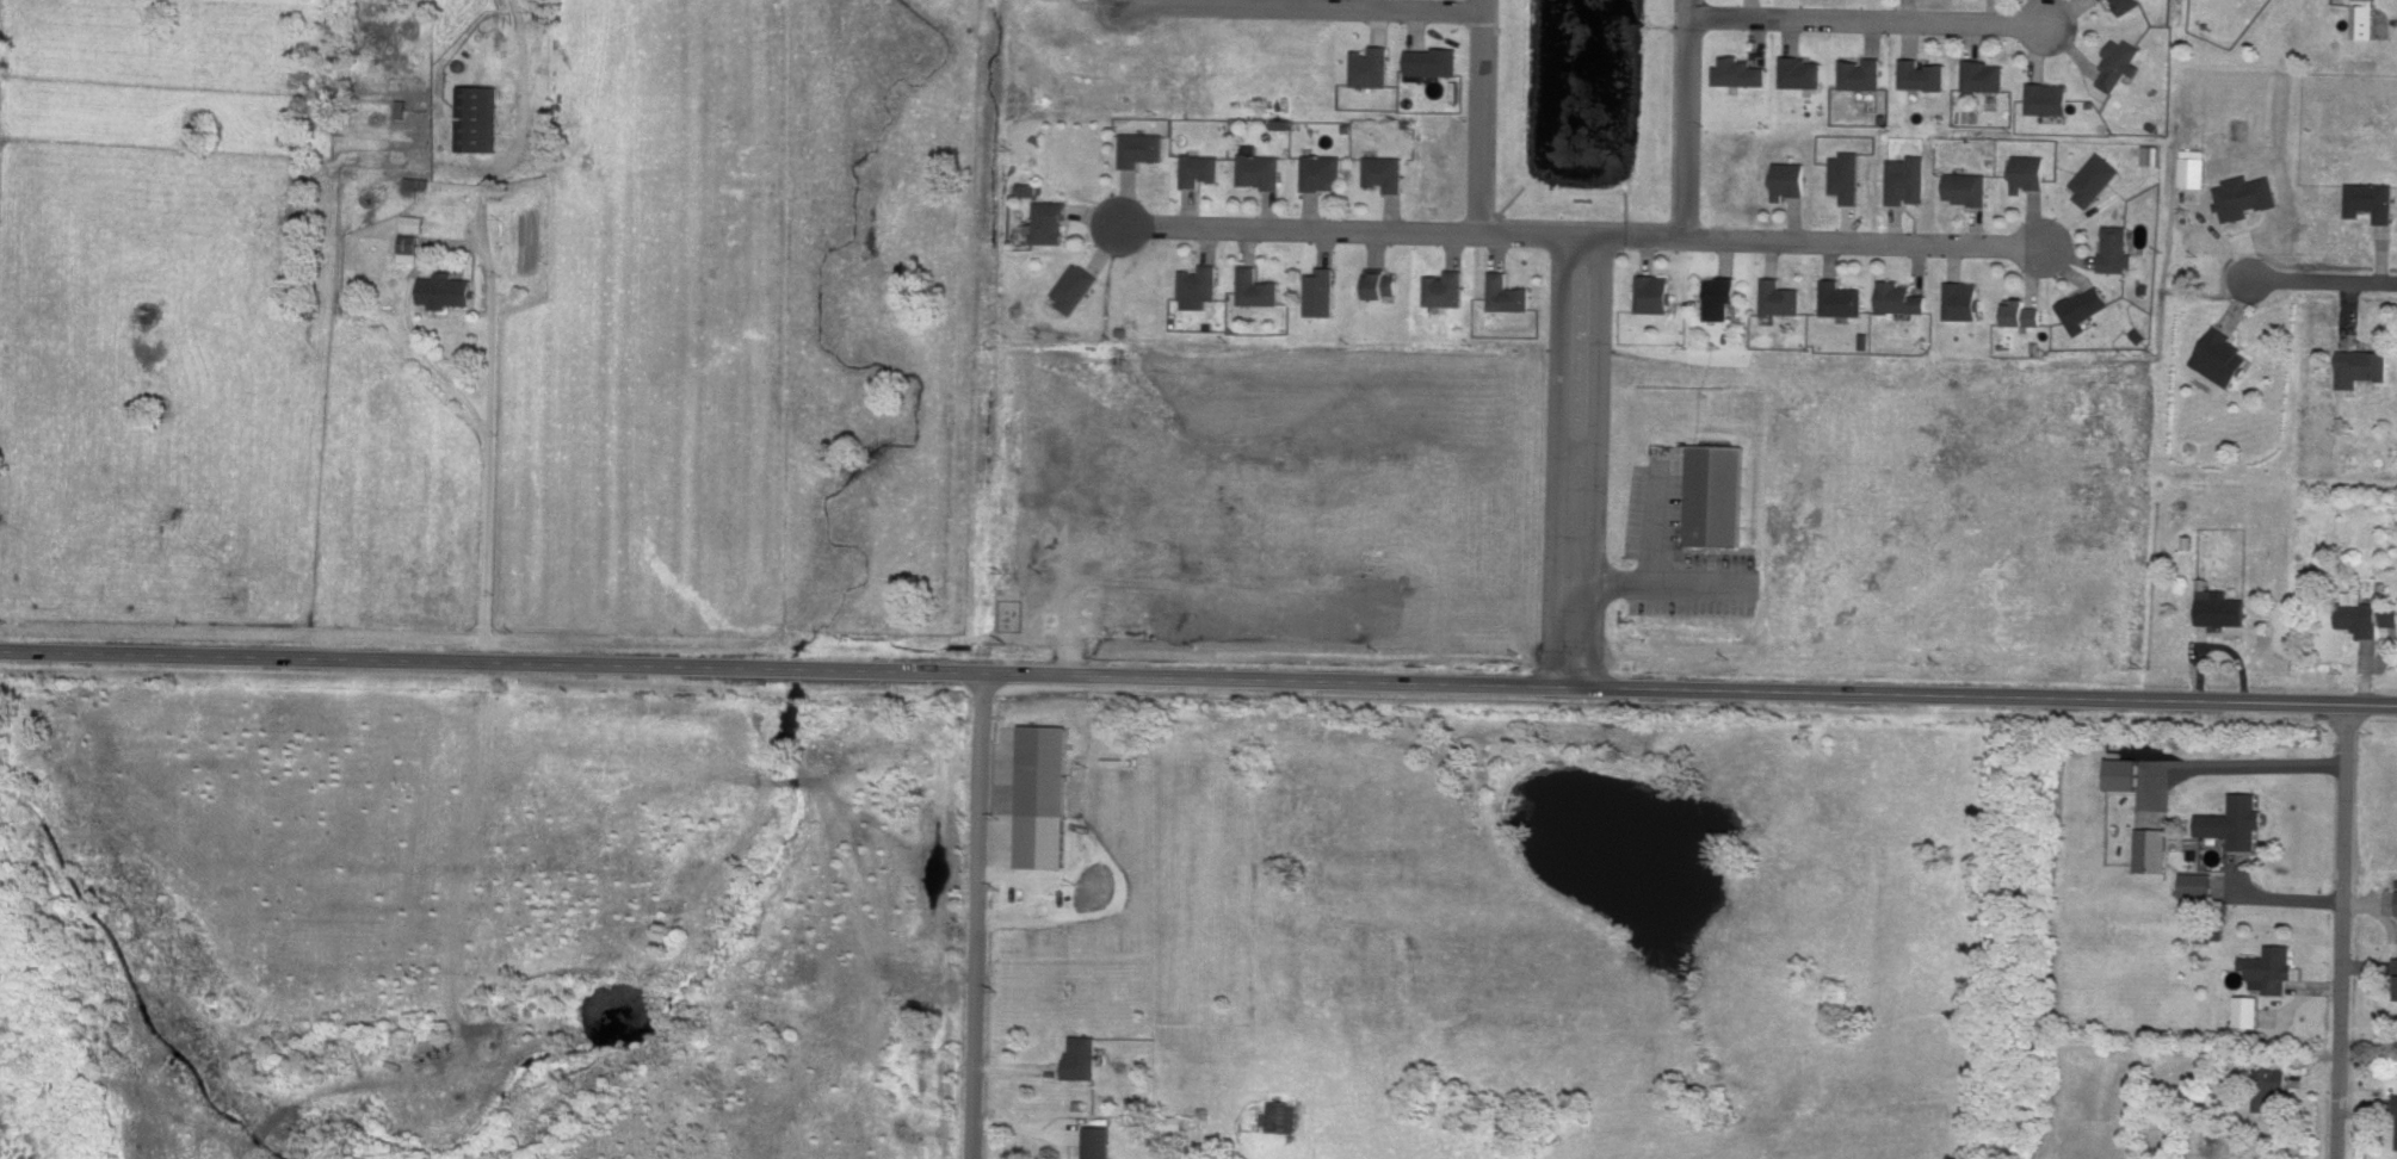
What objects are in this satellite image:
building: (2129, 4)
road: (1302, 8)
building: (2364, 18)
road: (1865, 20)
building: (1433, 61)
building: (2120, 62)
building: (1372, 66)
building: (1737, 70)
building: (1800, 70)
building: (1861, 72)
building: (1922, 73)
building: (1984, 74)
building: (2049, 97)
building: (478, 116)
road: (1482, 117)
road: (1682, 119)
building: (1281, 122)
building: (1141, 147)
building: (2150, 153)
building: (2193, 166)
building: (1199, 167)
building: (1258, 169)
building: (1323, 171)
building: (1385, 171)
building: (2027, 171)
building: (1845, 174)
building: (1789, 176)
building: (2094, 176)
building: (1905, 178)
building: (1965, 186)
building: (1027, 187)
building: (2244, 193)
building: (2372, 198)
building: (1049, 221)
building: (414, 222)
road: (1355, 231)
road: (1817, 241)
building: (409, 247)
building: (2115, 247)
building: (1384, 281)
building: (1198, 283)
road: (2323, 284)
building: (1074, 285)
building: (1258, 286)
building: (446, 289)
building: (1441, 289)
building: (1322, 291)
building: (1506, 292)
building: (1652, 292)
building: (1718, 295)
building: (1778, 296)
building: (1898, 296)
building: (1840, 297)
building: (1960, 298)
building: (2083, 305)
building: (2022, 311)
road: (407, 330)
building: (2220, 355)
building: (2362, 365)
road: (1556, 461)
road: (1590, 461)
building: (1716, 492)
road: (482, 516)
road: (1651, 522)
railway: (959, 578)
road: (1669, 588)
building: (2222, 607)
building: (2359, 613)
building: (2390, 614)
road: (945, 671)
road: (2143, 701)
road: (2244, 767)
building: (2125, 773)
building: (1043, 794)
building: (2236, 820)
building: (2151, 848)
building: (2197, 882)
road: (2282, 901)
road: (980, 916)
road: (2342, 932)
building: (2272, 967)
building: (2248, 1009)
building: (1081, 1056)
building: (2271, 1087)
building: (1278, 1115)
building: (1095, 1141)
building: (2396, 1143)

